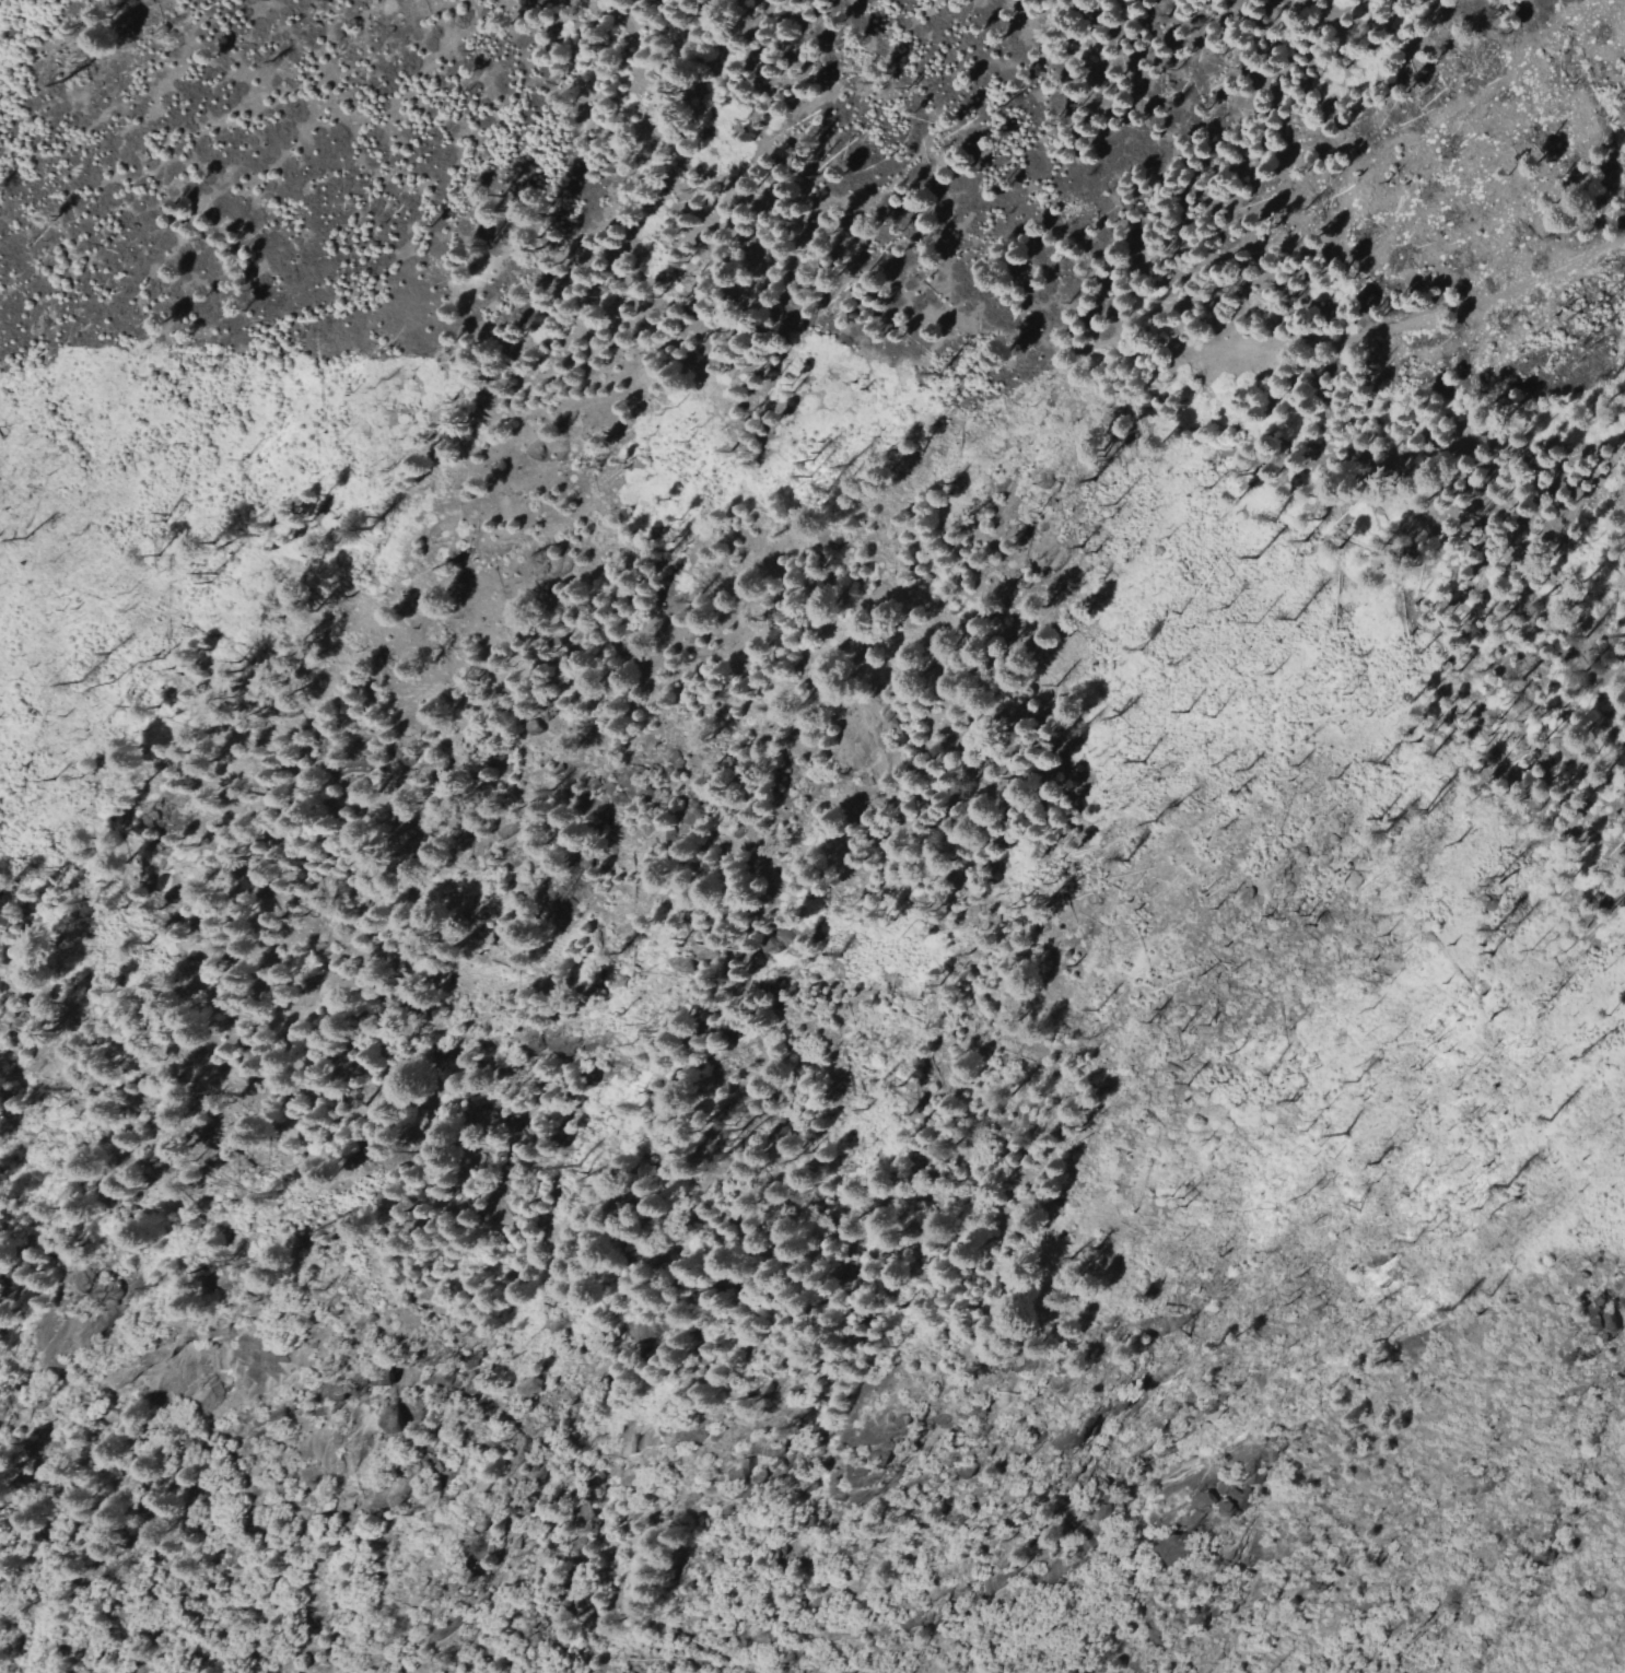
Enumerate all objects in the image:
road: (1158, 383)

